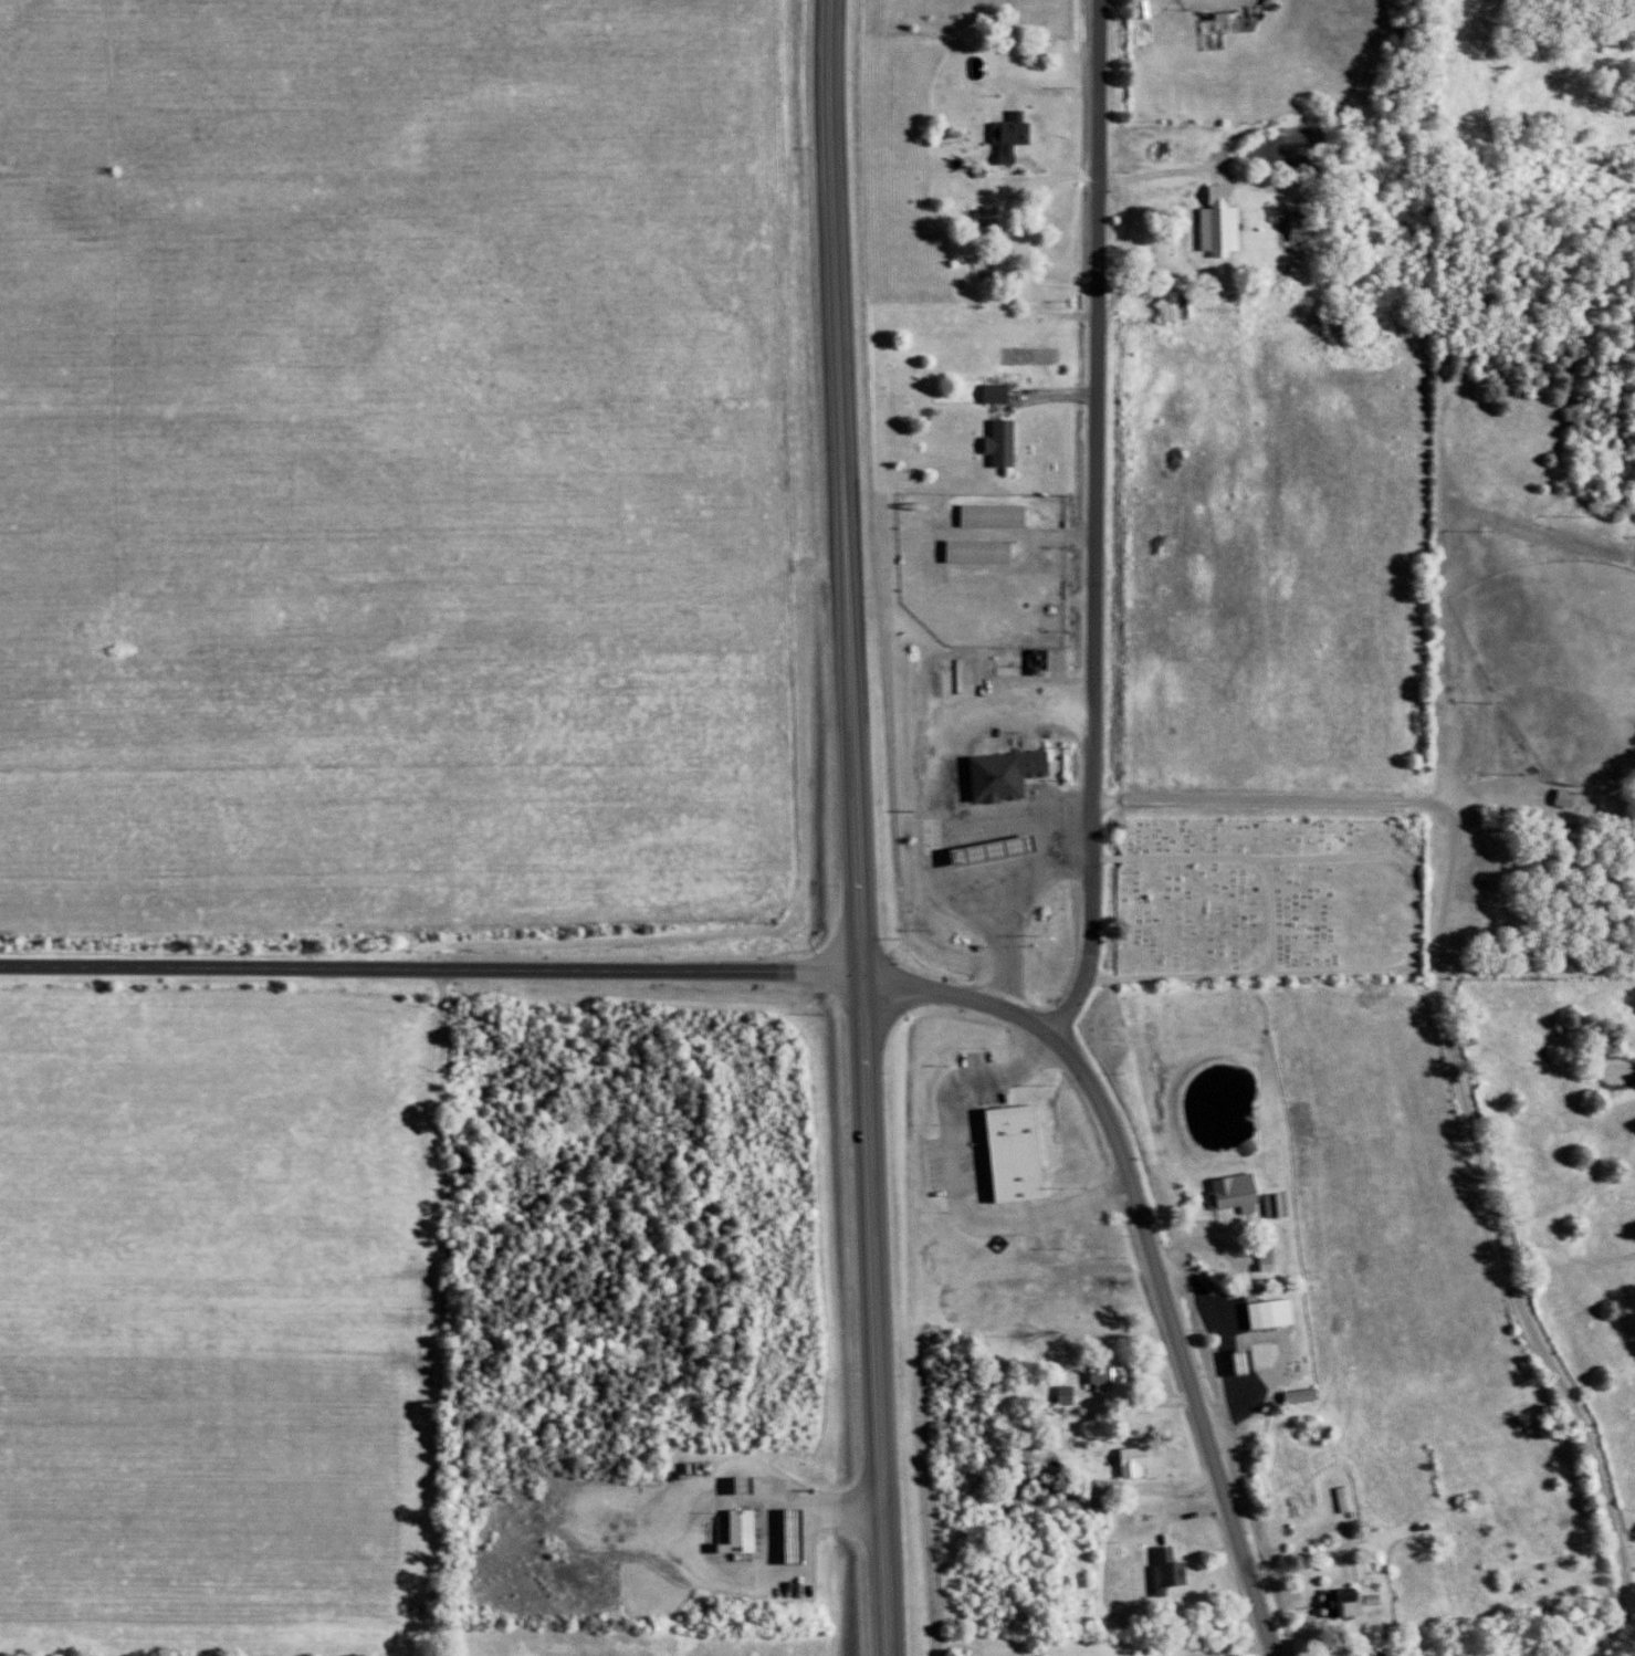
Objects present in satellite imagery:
road: (1239, 73)
road: (1227, 161)
road: (1144, 180)
building: (1226, 223)
road: (1026, 282)
building: (1182, 305)
road: (1035, 354)
building: (1008, 442)
building: (999, 513)
road: (1097, 525)
building: (985, 551)
building: (1012, 773)
building: (1572, 796)
road: (856, 827)
park: (1270, 900)
road: (432, 971)
road: (963, 994)
road: (1457, 1076)
building: (1023, 1152)
building: (1240, 1189)
building: (1282, 1204)
road: (1565, 1259)
road: (1153, 1264)
building: (1277, 1312)
road: (1176, 1340)
building: (1115, 1375)
building: (1307, 1395)
building: (1141, 1460)
building: (1351, 1498)
building: (746, 1531)
building: (799, 1534)
road: (1312, 1555)
building: (1175, 1569)
building: (1351, 1602)
road: (1260, 1654)

